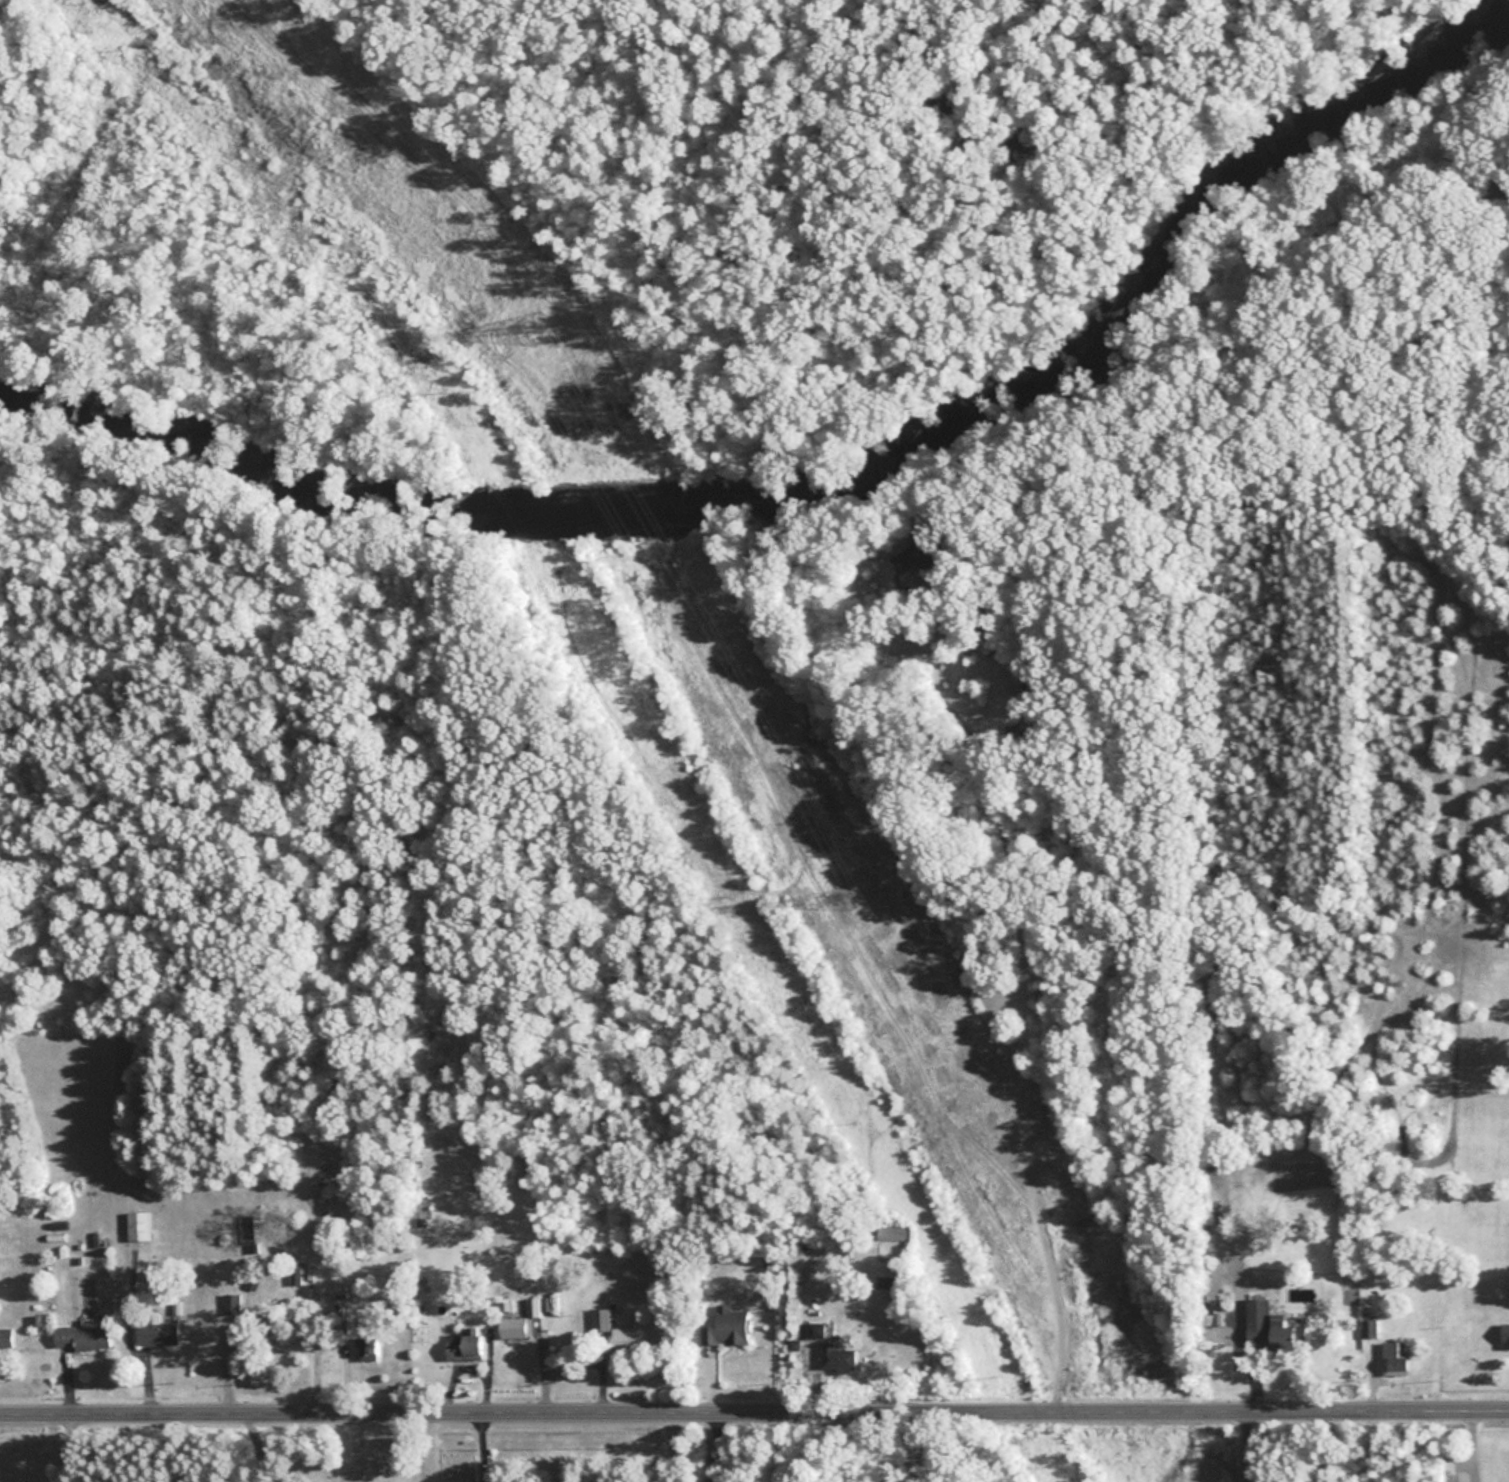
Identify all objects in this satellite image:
power tower: (540, 330)
river: (827, 464)
building: (918, 557)
power tower: (857, 897)
road: (1018, 931)
building: (146, 1189)
building: (140, 1227)
building: (893, 1234)
building: (294, 1272)
building: (884, 1282)
building: (233, 1305)
building: (534, 1308)
building: (341, 1313)
building: (601, 1321)
building: (515, 1328)
building: (731, 1329)
building: (1272, 1330)
building: (818, 1331)
road: (127, 1333)
building: (159, 1333)
building: (85, 1337)
building: (1506, 1337)
building: (7, 1340)
building: (621, 1341)
building: (244, 1346)
road: (327, 1346)
building: (468, 1350)
building: (369, 1351)
building: (1401, 1358)
building: (842, 1359)
road: (464, 1367)
road: (754, 1406)
road: (712, 1443)
road: (1243, 1443)
road: (1317, 1443)
road: (254, 1444)
road: (478, 1444)
road: (918, 1444)
road: (68, 1445)

